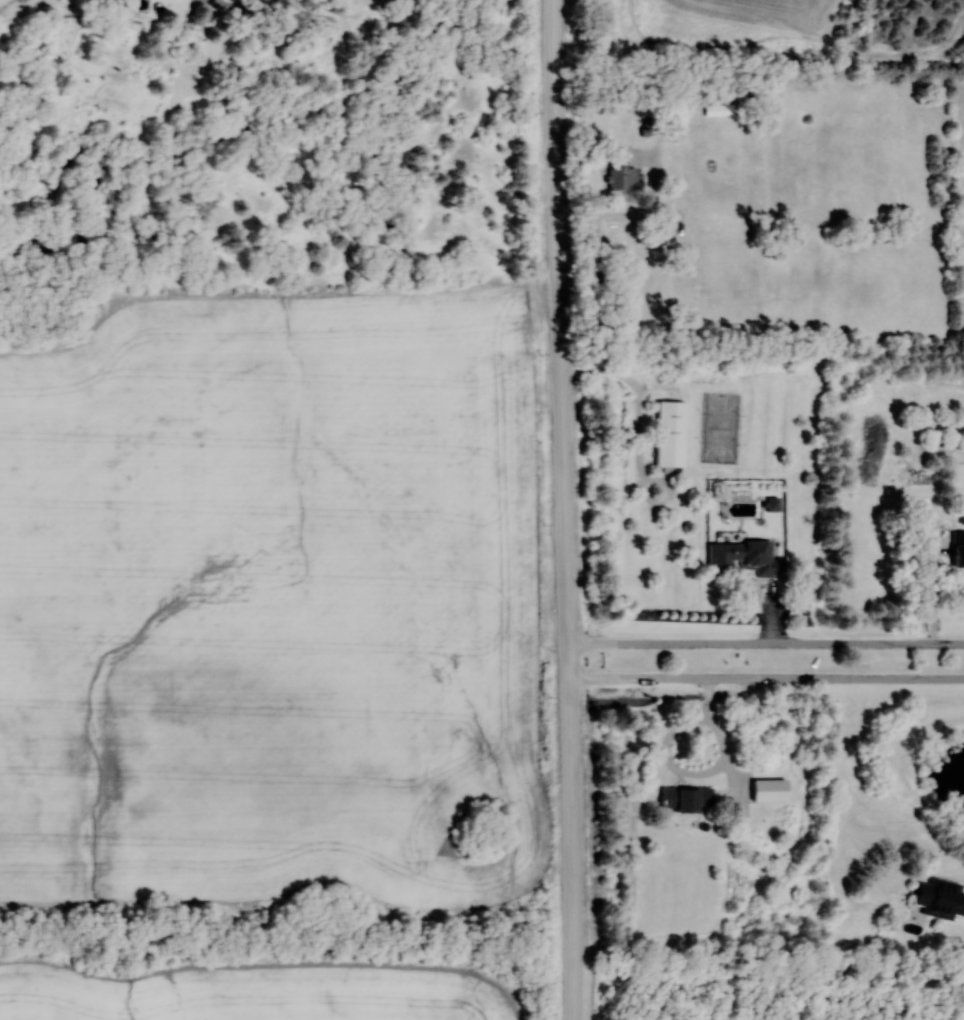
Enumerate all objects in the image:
building: (719, 109)
building: (620, 171)
building: (671, 434)
road: (563, 509)
building: (959, 549)
building: (741, 558)
road: (933, 605)
road: (766, 643)
road: (766, 679)
road: (701, 774)
building: (685, 799)
building: (941, 898)

